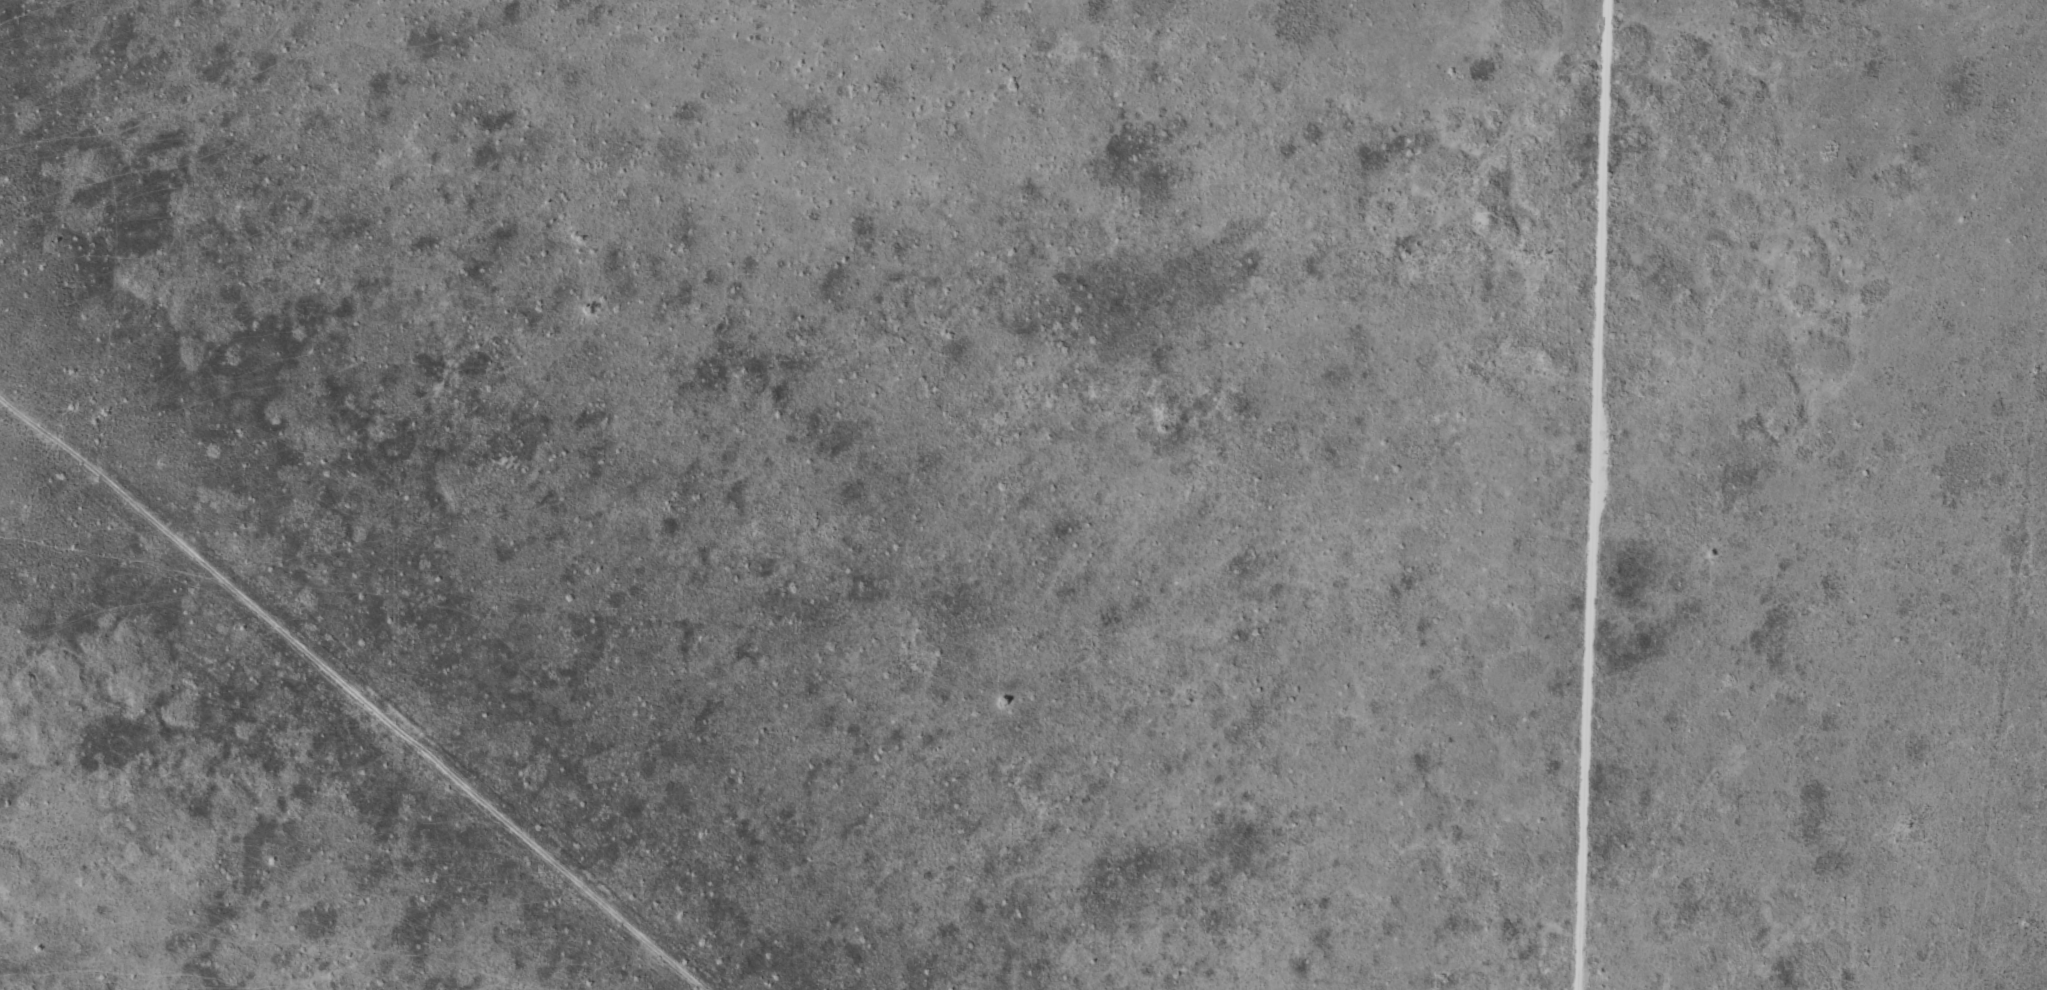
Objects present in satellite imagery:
road: (2039, 965)

